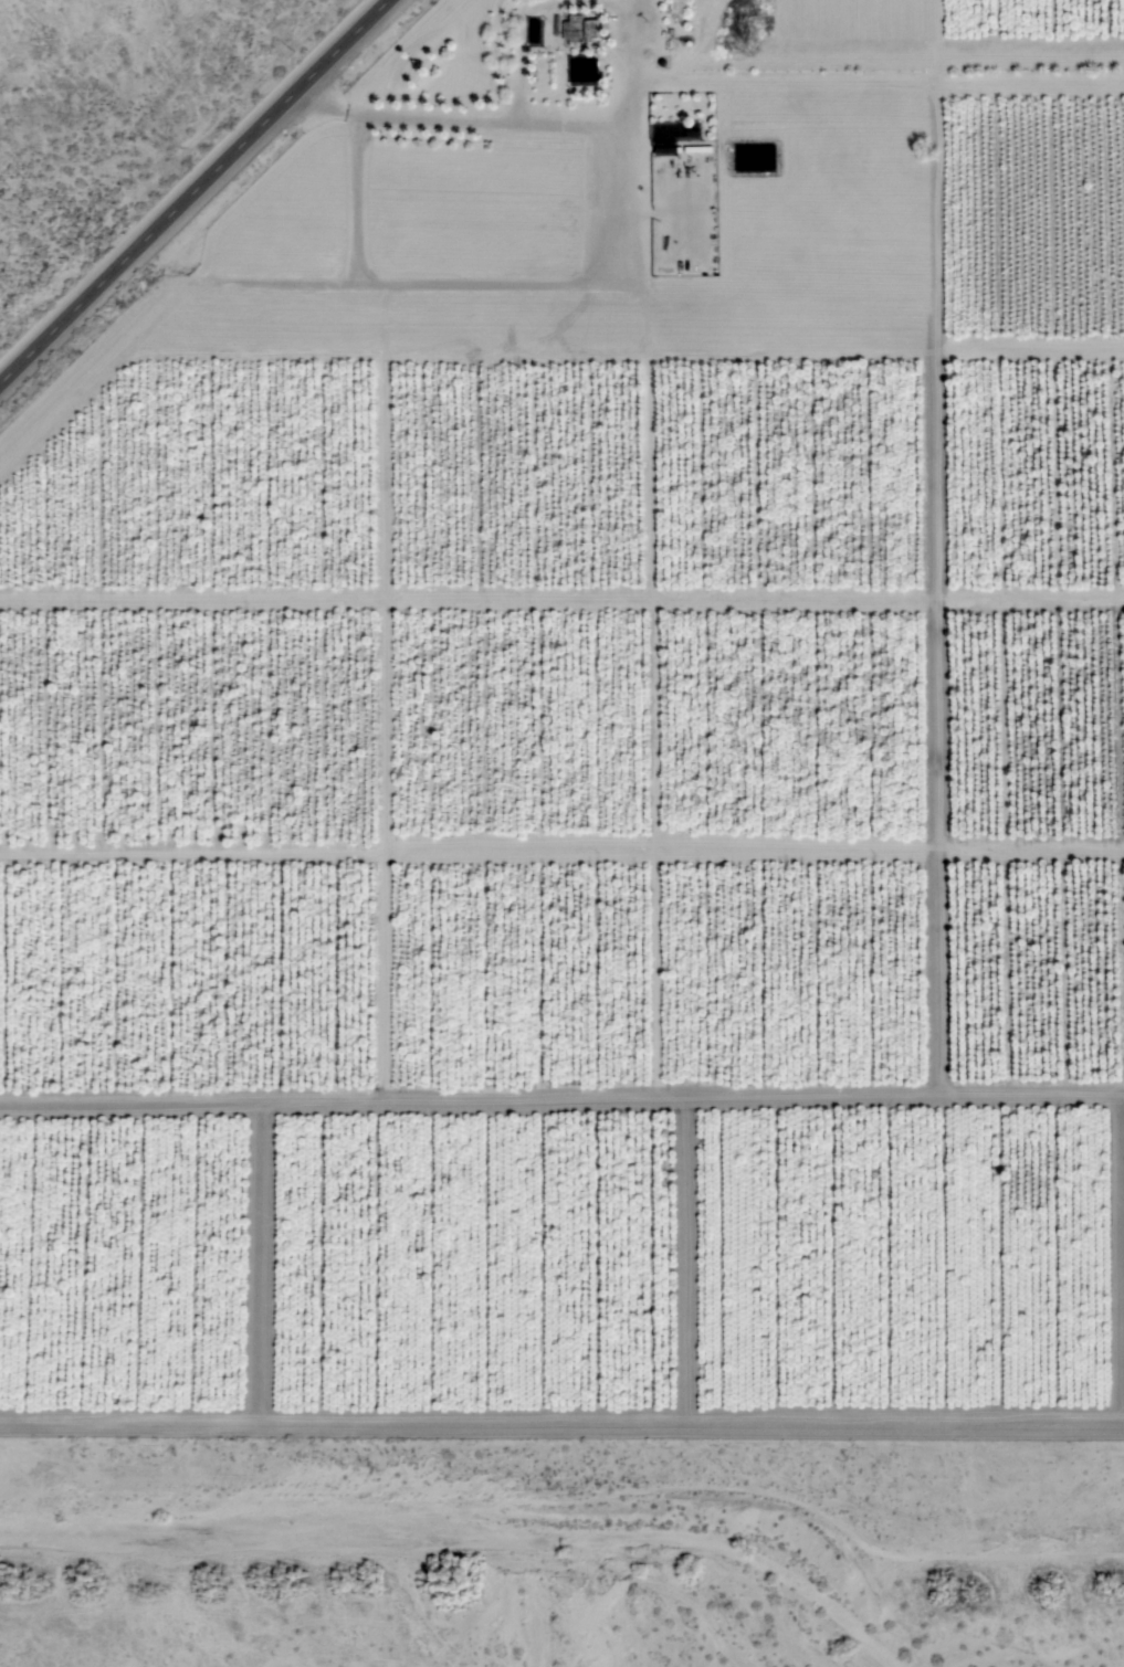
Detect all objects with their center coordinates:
building: (665, 139)
road: (190, 187)
crop: (590, 852)

